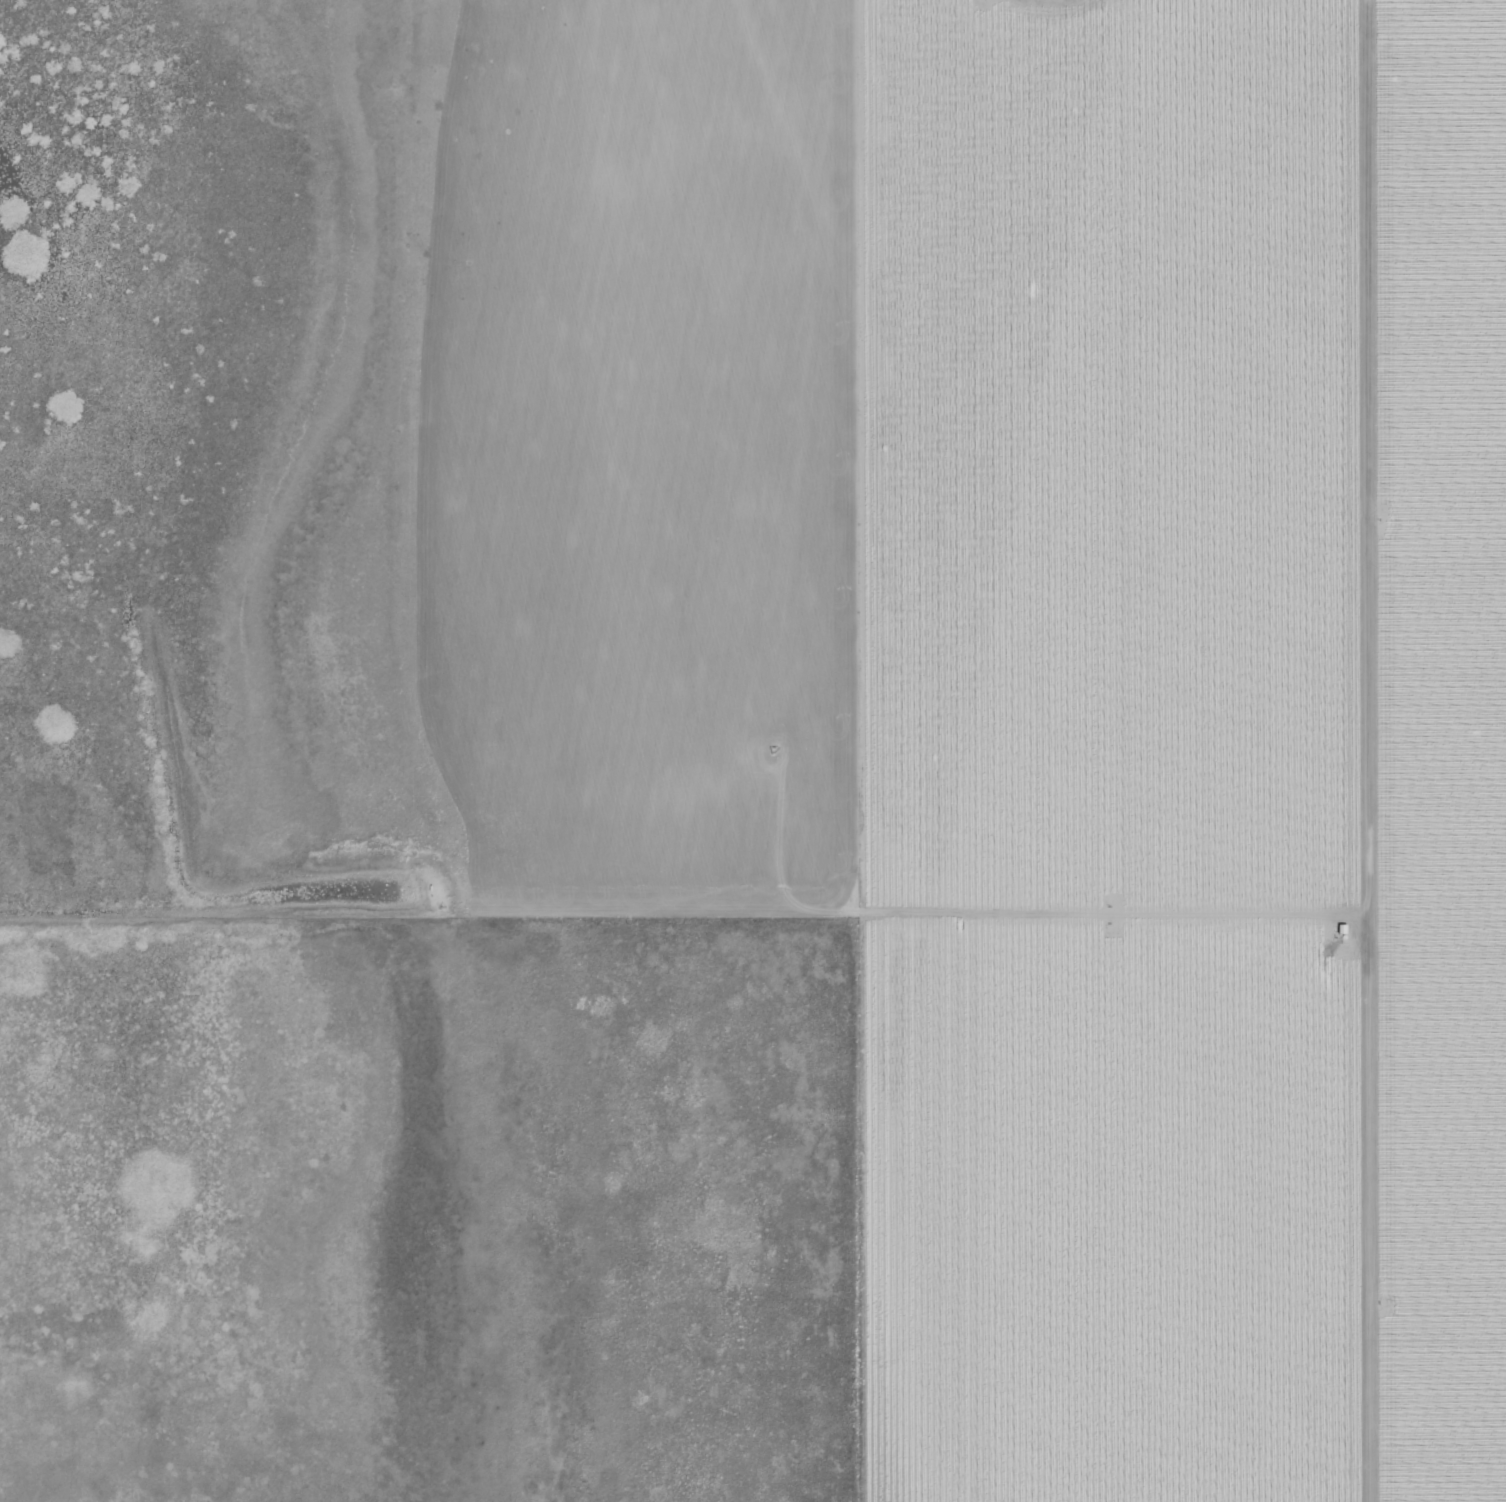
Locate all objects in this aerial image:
road: (1385, 6)
road: (1367, 754)

